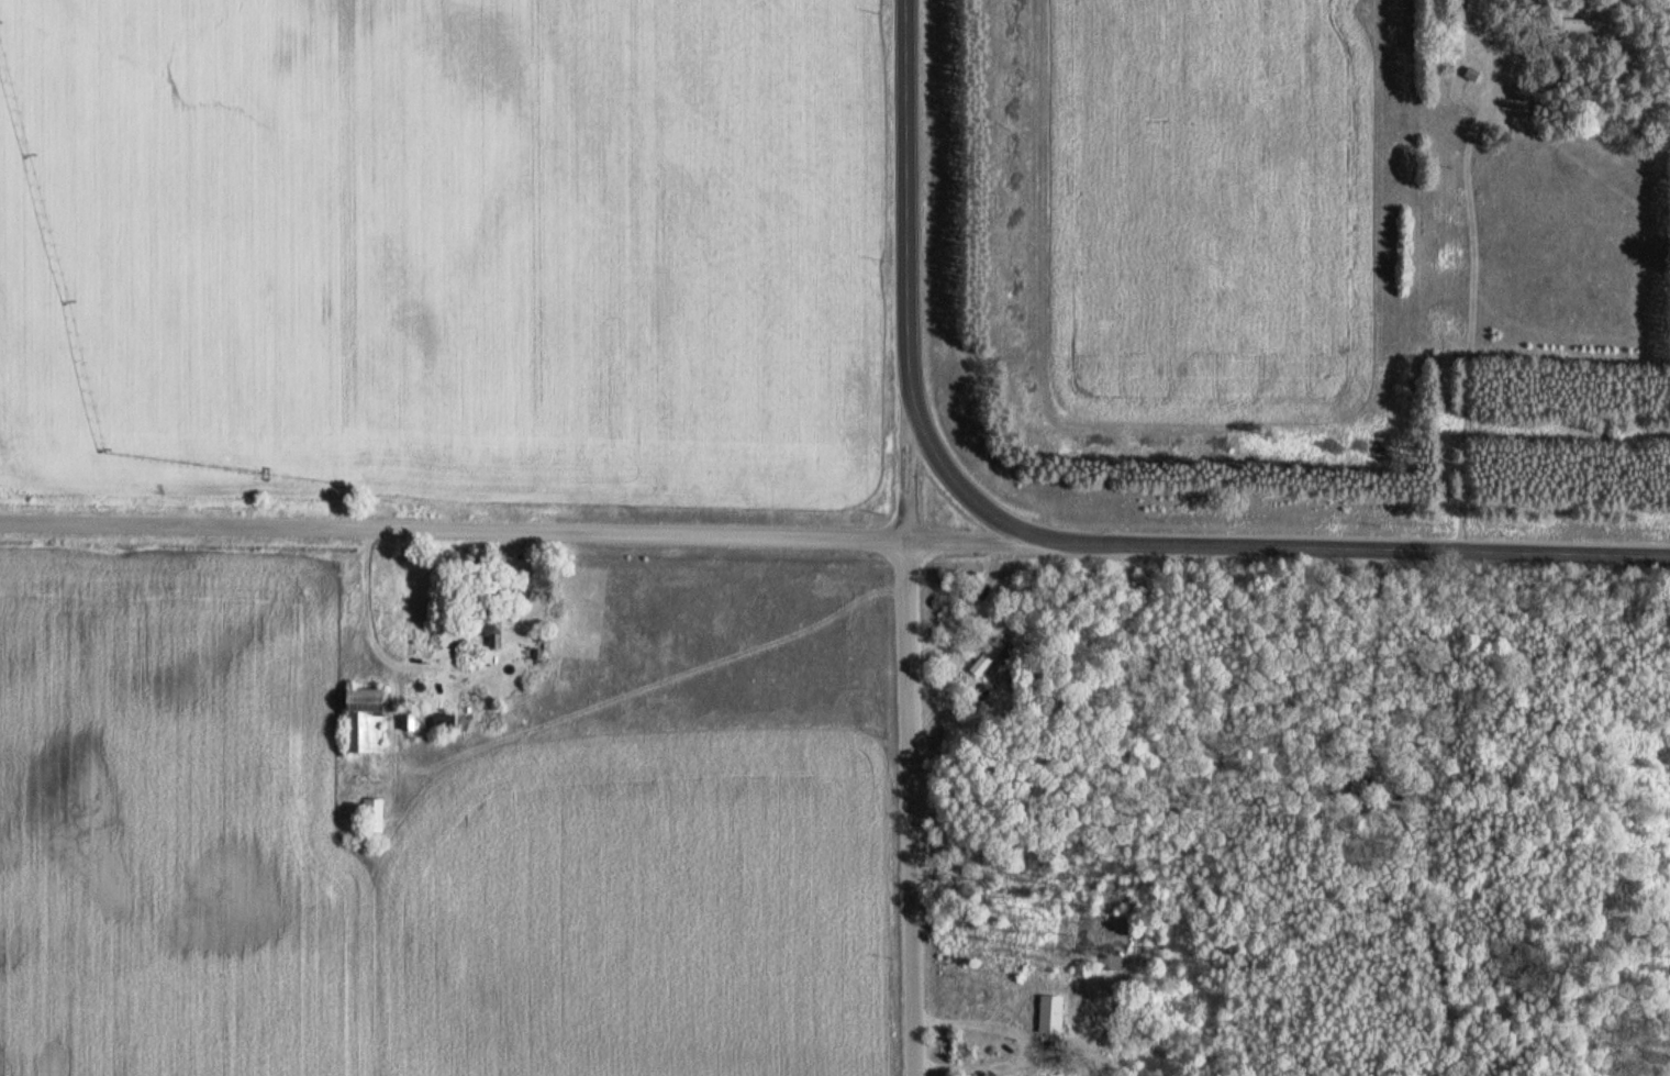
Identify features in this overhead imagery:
building: (1585, 23)
building: (1471, 73)
road: (908, 200)
road: (1469, 310)
road: (909, 469)
road: (956, 487)
road: (519, 531)
road: (1354, 548)
building: (489, 624)
building: (992, 653)
building: (364, 719)
building: (443, 720)
building: (1362, 784)
road: (908, 807)
building: (372, 813)
building: (1050, 1012)

